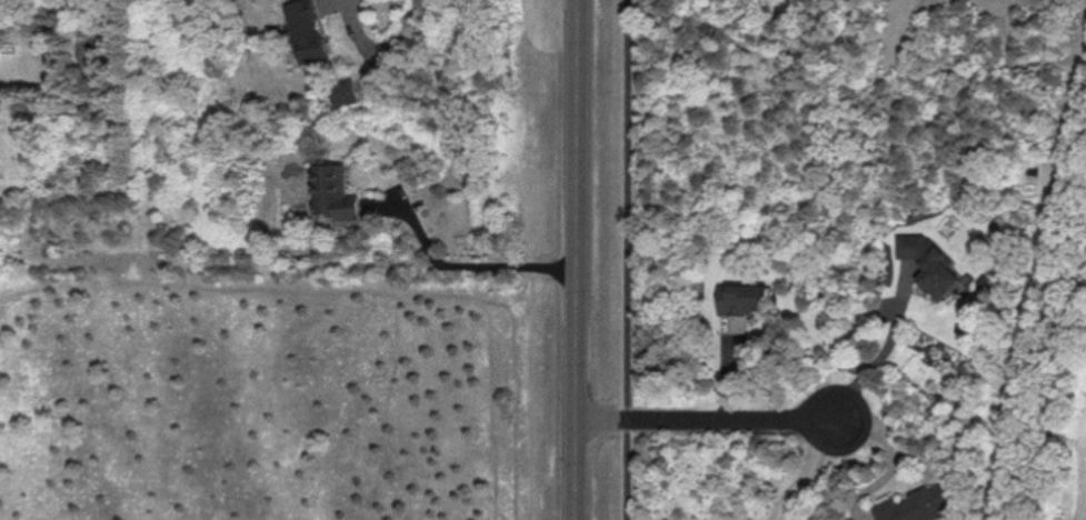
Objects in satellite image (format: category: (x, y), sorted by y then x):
building: (307, 30)
building: (343, 93)
building: (336, 193)
road: (628, 202)
building: (996, 226)
road: (577, 259)
building: (931, 264)
road: (474, 267)
building: (746, 299)
road: (881, 356)
road: (628, 418)
road: (707, 419)
road: (895, 460)
road: (809, 470)
road: (628, 476)
building: (921, 504)

